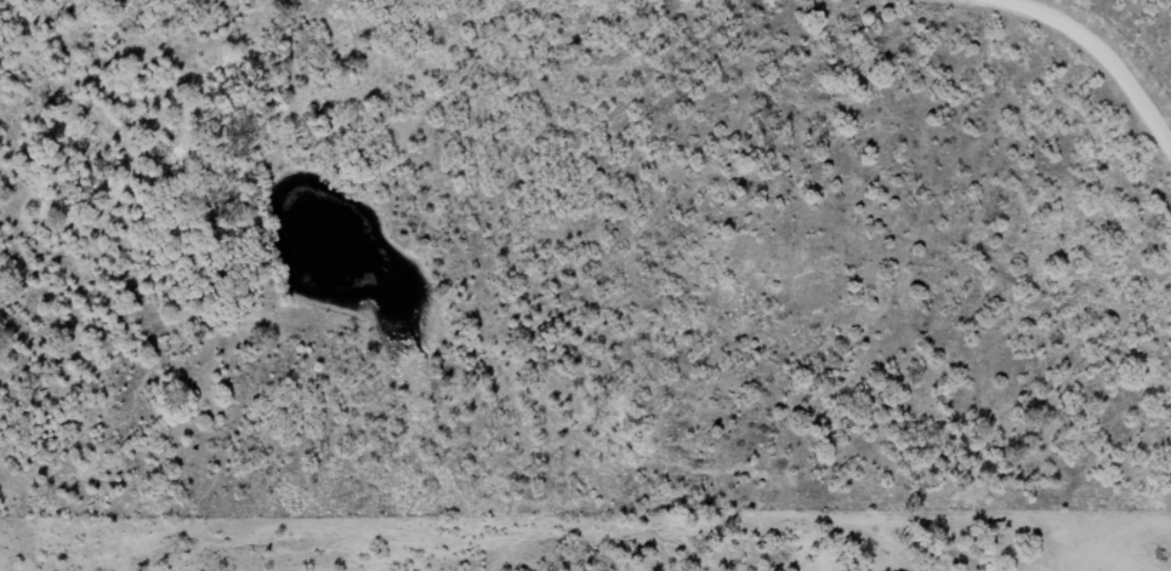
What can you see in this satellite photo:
road: (1053, 45)

